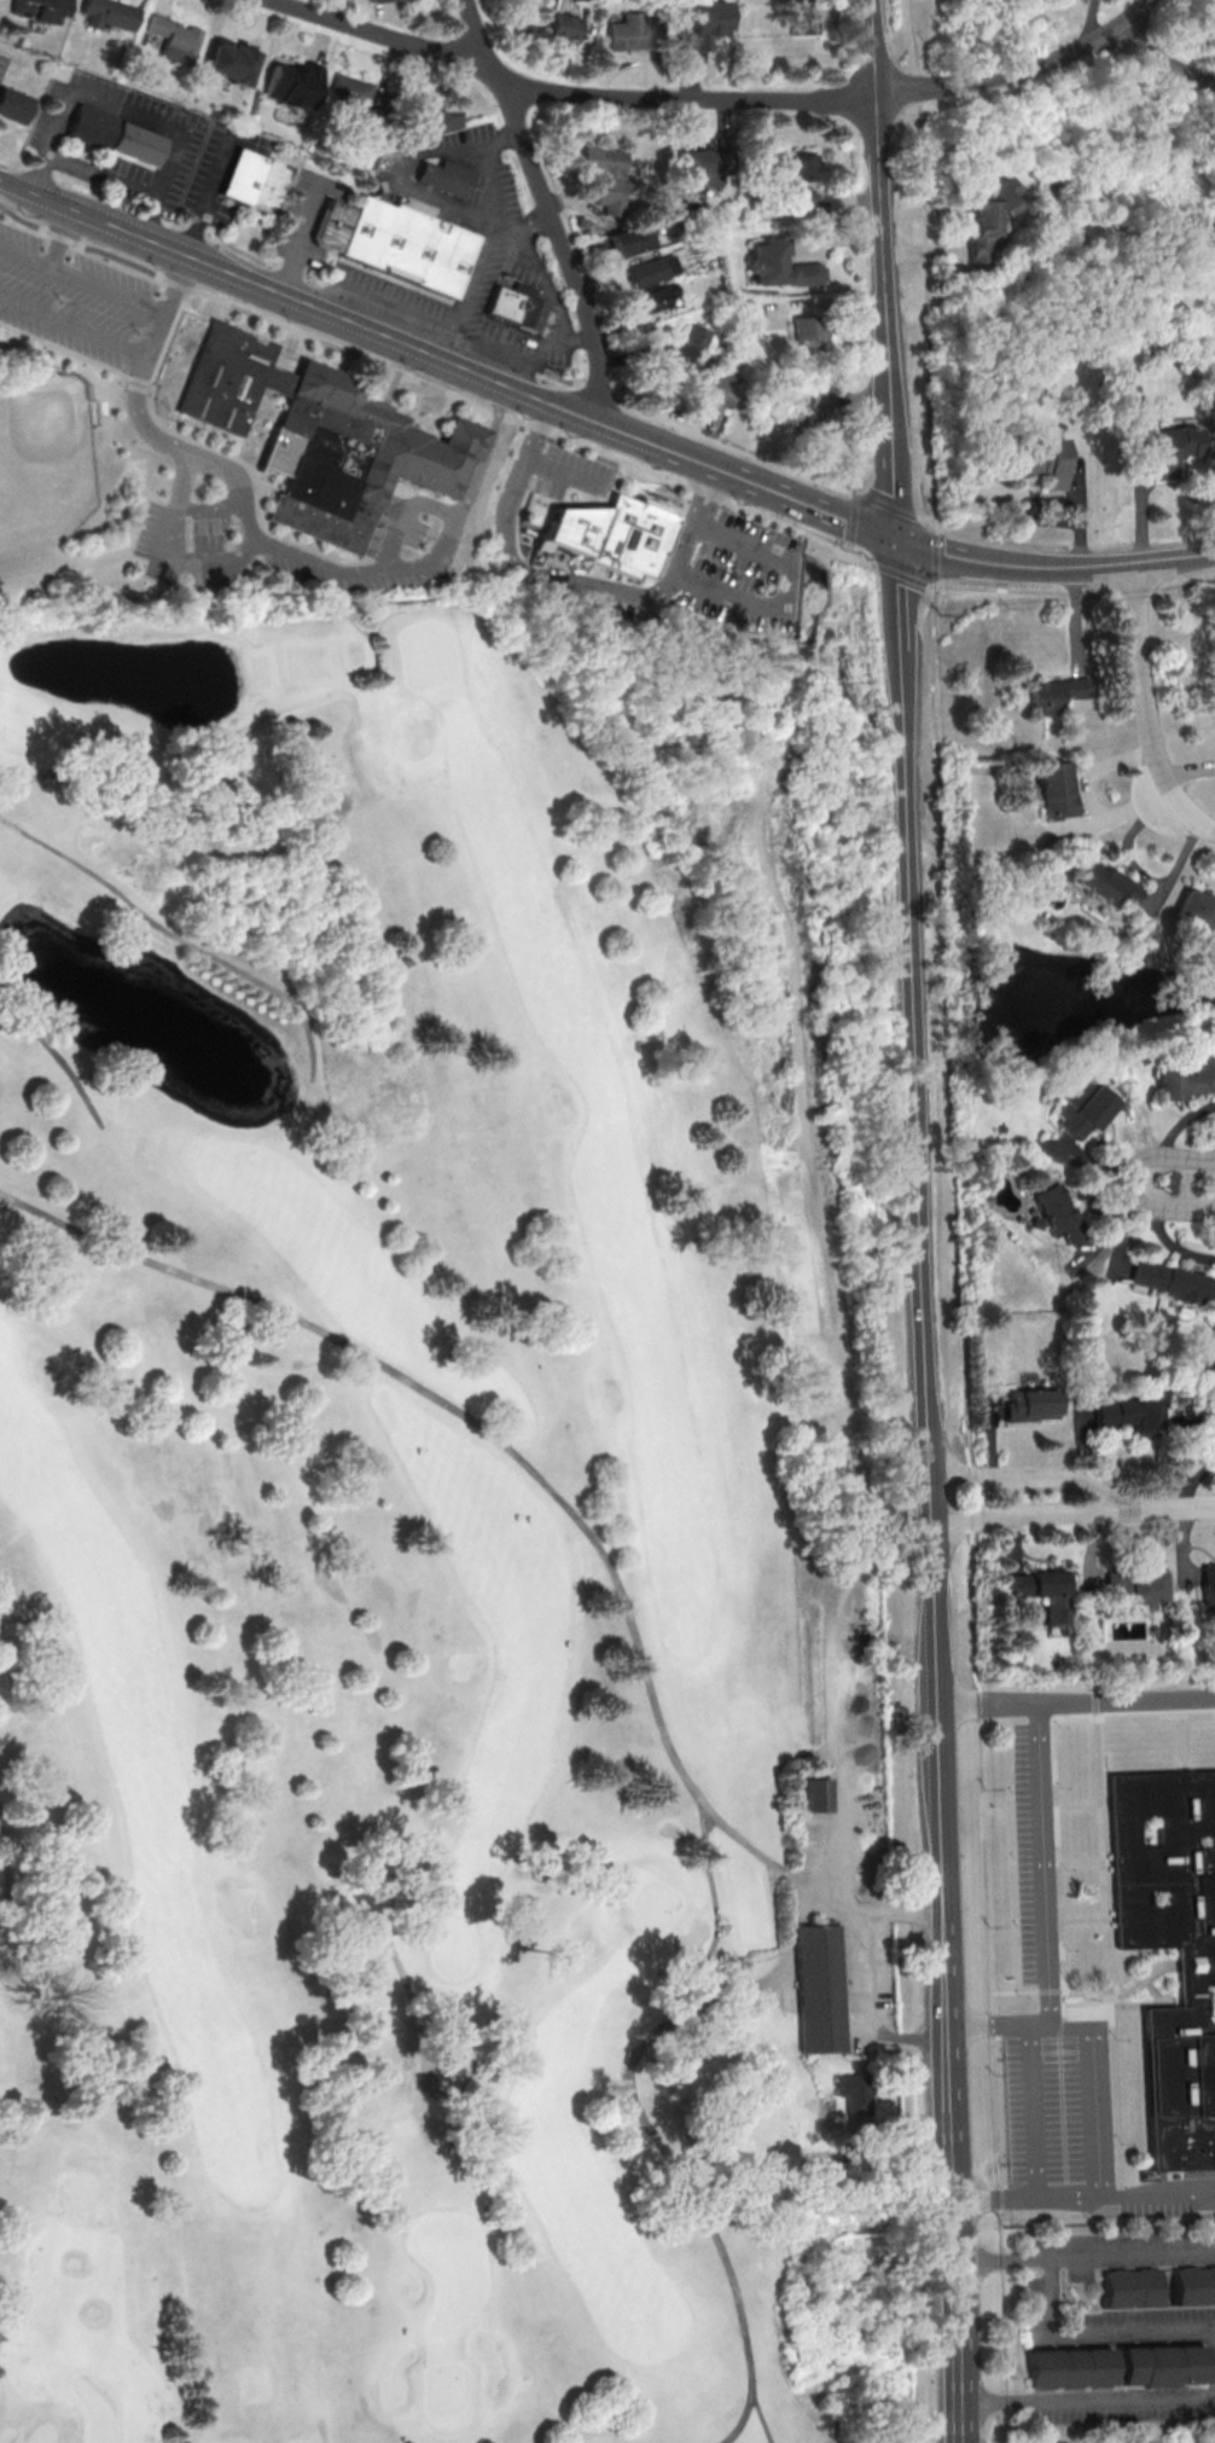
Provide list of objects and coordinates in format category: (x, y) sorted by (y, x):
building: (370, 0)
building: (388, 2)
building: (43, 11)
building: (115, 13)
building: (810, 17)
road: (1092, 19)
road: (396, 21)
building: (569, 28)
road: (251, 33)
building: (634, 33)
building: (702, 33)
road: (592, 34)
road: (296, 36)
road: (329, 36)
building: (180, 39)
road: (1165, 56)
road: (640, 59)
building: (233, 65)
road: (1022, 68)
road: (704, 79)
building: (297, 85)
building: (350, 91)
road: (576, 92)
building: (18, 105)
building: (440, 117)
road: (731, 120)
building: (115, 135)
building: (702, 169)
building: (446, 176)
building: (255, 180)
building: (611, 180)
building: (800, 181)
road: (211, 198)
road: (856, 198)
road: (548, 204)
building: (984, 216)
road: (523, 226)
road: (845, 236)
road: (62, 240)
building: (634, 240)
building: (401, 243)
road: (24, 260)
building: (786, 268)
building: (651, 273)
road: (469, 295)
building: (663, 298)
road: (818, 301)
building: (507, 304)
building: (694, 335)
building: (812, 337)
road: (145, 352)
building: (662, 372)
road: (508, 384)
building: (715, 396)
road: (859, 399)
road: (930, 431)
building: (819, 434)
building: (324, 437)
road: (696, 441)
building: (1040, 460)
road: (564, 474)
parking lot: (570, 474)
road: (865, 493)
road: (694, 517)
traffic signals: (896, 538)
building: (606, 540)
road: (510, 553)
road: (675, 556)
road: (1120, 564)
road: (321, 567)
road: (906, 573)
parking lot: (744, 576)
road: (785, 592)
parking lot: (611, 603)
building: (1053, 694)
road: (1152, 713)
road: (196, 760)
building: (1054, 789)
building: (1103, 882)
building: (1197, 909)
road: (178, 934)
road: (913, 1014)
road: (50, 1048)
building: (1185, 1079)
building: (1081, 1108)
road: (952, 1137)
road: (1128, 1182)
building: (1057, 1212)
building: (1172, 1282)
building: (1033, 1404)
building: (1132, 1414)
building: (1209, 1429)
road: (1194, 1431)
road: (519, 1461)
road: (1188, 1461)
road: (1037, 1479)
road: (1203, 1482)
road: (1174, 1509)
road: (1034, 1514)
park: (436, 1536)
building: (1210, 1583)
building: (1138, 1586)
building: (1041, 1591)
road: (1029, 1690)
road: (1076, 1704)
road: (1185, 1742)
road: (1099, 1762)
road: (849, 1763)
building: (816, 1794)
road: (1083, 1806)
road: (1057, 1833)
parking lot: (1037, 1853)
road: (1086, 1863)
road: (1047, 1911)
road: (1088, 1923)
road: (715, 1930)
road: (29, 1942)
road: (393, 1952)
building: (1196, 1968)
road: (854, 1975)
building: (820, 1990)
road: (1124, 1996)
road: (1065, 2004)
road: (1058, 2024)
road: (994, 2066)
building: (854, 2094)
road: (1114, 2100)
parking lot: (1056, 2110)
road: (1030, 2114)
road: (1091, 2120)
road: (653, 2131)
road: (1146, 2200)
parking lot: (1169, 2200)
road: (1016, 2205)
road: (955, 2235)
road: (999, 2255)
road: (1045, 2286)
building: (1194, 2286)
building: (1130, 2290)
building: (1120, 2367)
road: (1088, 2397)
road: (374, 2419)
road: (763, 2419)
road: (325, 2433)

